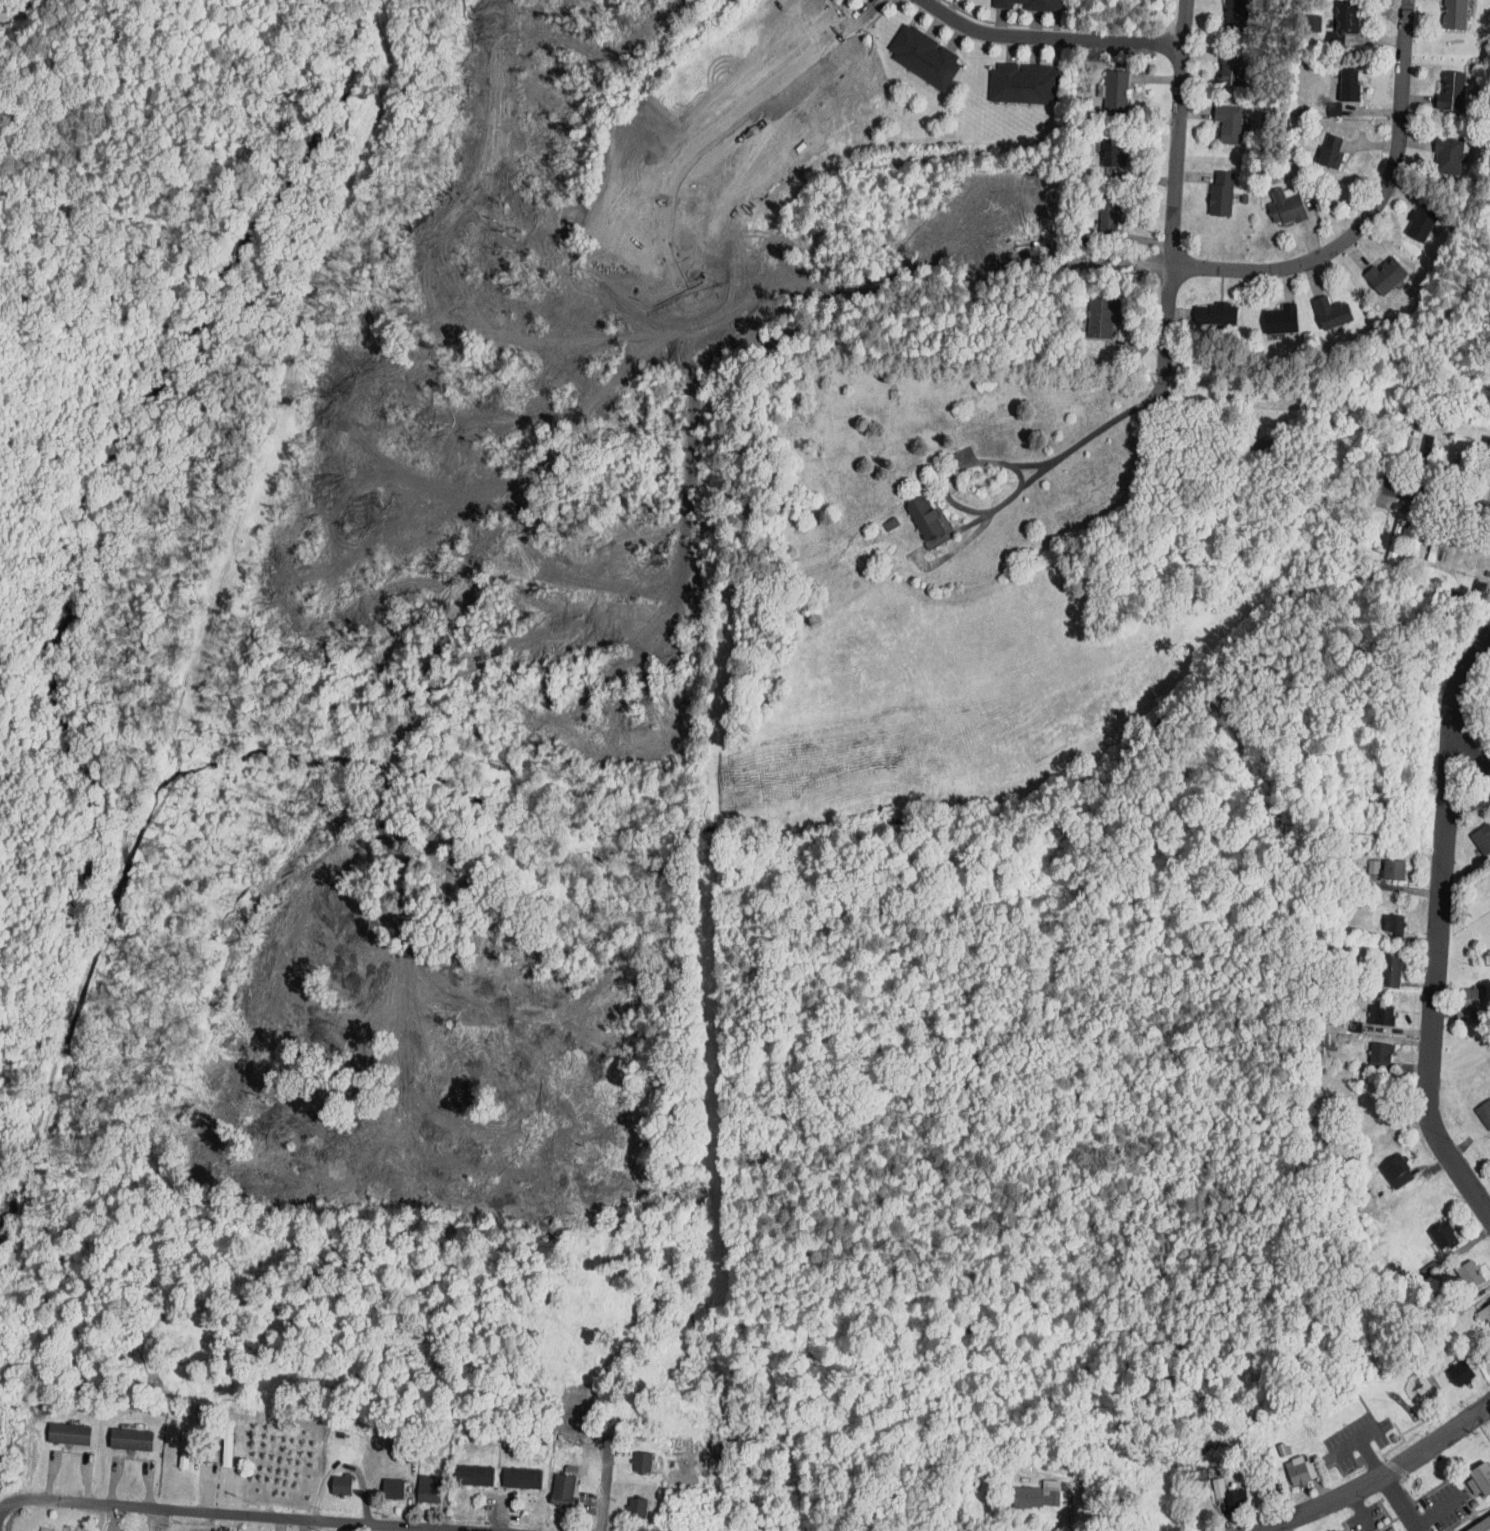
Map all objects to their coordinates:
building: (1030, 4)
building: (1346, 14)
building: (1454, 14)
building: (1237, 15)
building: (1314, 23)
road: (1048, 39)
building: (924, 57)
building: (1235, 67)
building: (1024, 84)
building: (1349, 84)
building: (1117, 91)
building: (1451, 92)
road: (732, 124)
building: (1230, 124)
building: (1112, 150)
building: (1330, 150)
building: (1449, 154)
road: (1176, 190)
building: (1222, 194)
building: (1287, 207)
road: (1371, 212)
building: (1109, 221)
building: (1422, 223)
building: (1386, 276)
building: (1332, 313)
building: (1217, 314)
building: (1102, 316)
building: (1281, 320)
building: (1263, 445)
building: (1408, 450)
building: (1426, 452)
building: (1462, 459)
road: (1000, 462)
building: (1483, 462)
road: (1440, 497)
building: (926, 519)
building: (889, 524)
building: (1397, 536)
building: (1416, 537)
building: (1434, 543)
road: (1471, 751)
road: (1467, 800)
building: (1481, 839)
building: (1394, 871)
building: (1394, 924)
road: (1437, 931)
building: (1392, 971)
building: (1470, 1004)
building: (1381, 1015)
building: (1380, 1054)
building: (1485, 1113)
building: (1397, 1166)
building: (1445, 1236)
building: (1470, 1273)
building: (1484, 1312)
building: (1460, 1372)
building: (68, 1433)
building: (131, 1439)
road: (1362, 1440)
building: (227, 1446)
building: (184, 1450)
building: (643, 1460)
building: (1299, 1474)
building: (474, 1476)
building: (1481, 1477)
road: (1379, 1478)
building: (522, 1479)
building: (342, 1485)
building: (393, 1489)
road: (204, 1490)
building: (565, 1491)
building: (429, 1493)
road: (602, 1494)
building: (1028, 1497)
building: (1234, 1499)
road: (1400, 1504)
building: (638, 1507)
road: (1359, 1510)
road: (1438, 1510)
road: (206, 1512)
building: (1480, 1524)
building: (1389, 1529)
building: (1333, 1530)
building: (1336, 1530)

